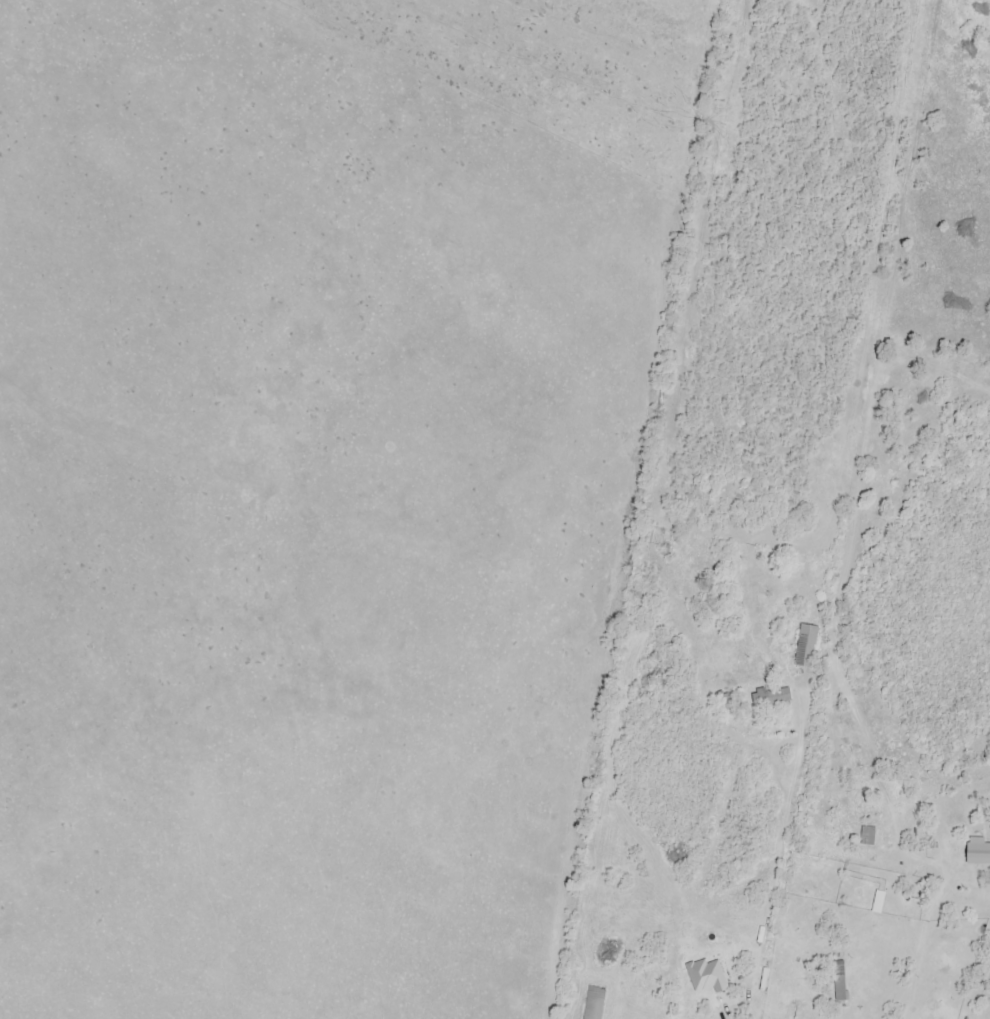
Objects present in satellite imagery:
building: (806, 647)
building: (771, 698)
building: (868, 837)
road: (767, 853)
building: (978, 853)
road: (921, 941)
building: (839, 982)
building: (594, 1003)

